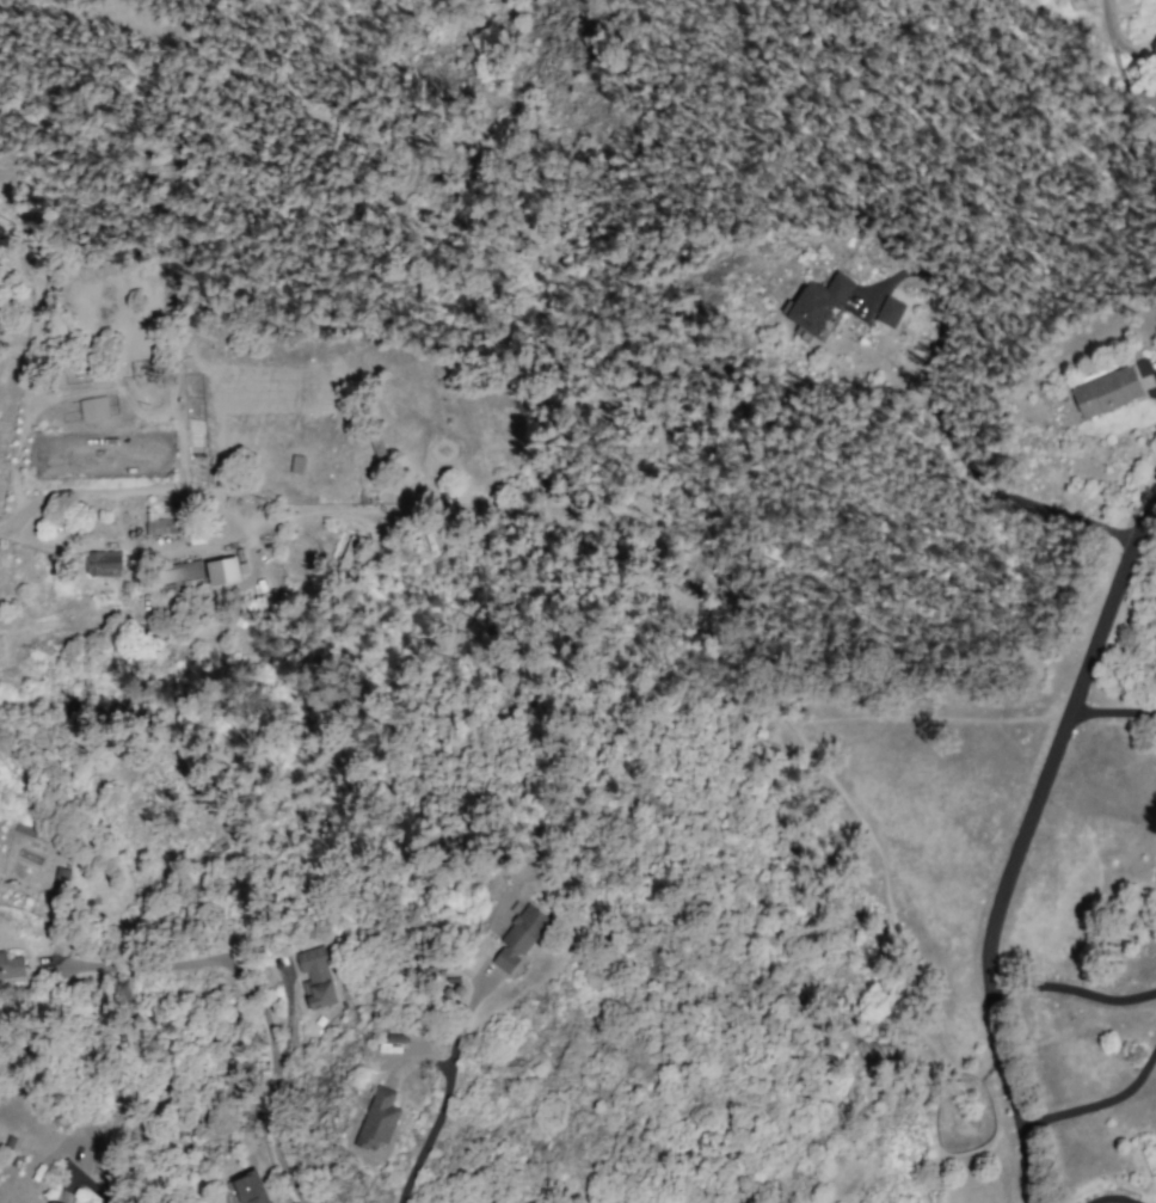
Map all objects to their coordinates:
road: (1109, 32)
building: (817, 302)
building: (888, 311)
building: (1106, 392)
building: (93, 407)
road: (939, 428)
road: (189, 492)
road: (1140, 514)
building: (165, 526)
road: (23, 535)
road: (150, 546)
building: (104, 563)
building: (222, 570)
road: (1111, 712)
road: (1015, 864)
building: (61, 876)
building: (518, 938)
building: (11, 966)
building: (315, 978)
road: (1076, 992)
road: (270, 1097)
road: (1100, 1105)
building: (377, 1119)
road: (424, 1152)
road: (92, 1186)
building: (251, 1187)
building: (50, 1202)
road: (1113, 1202)

